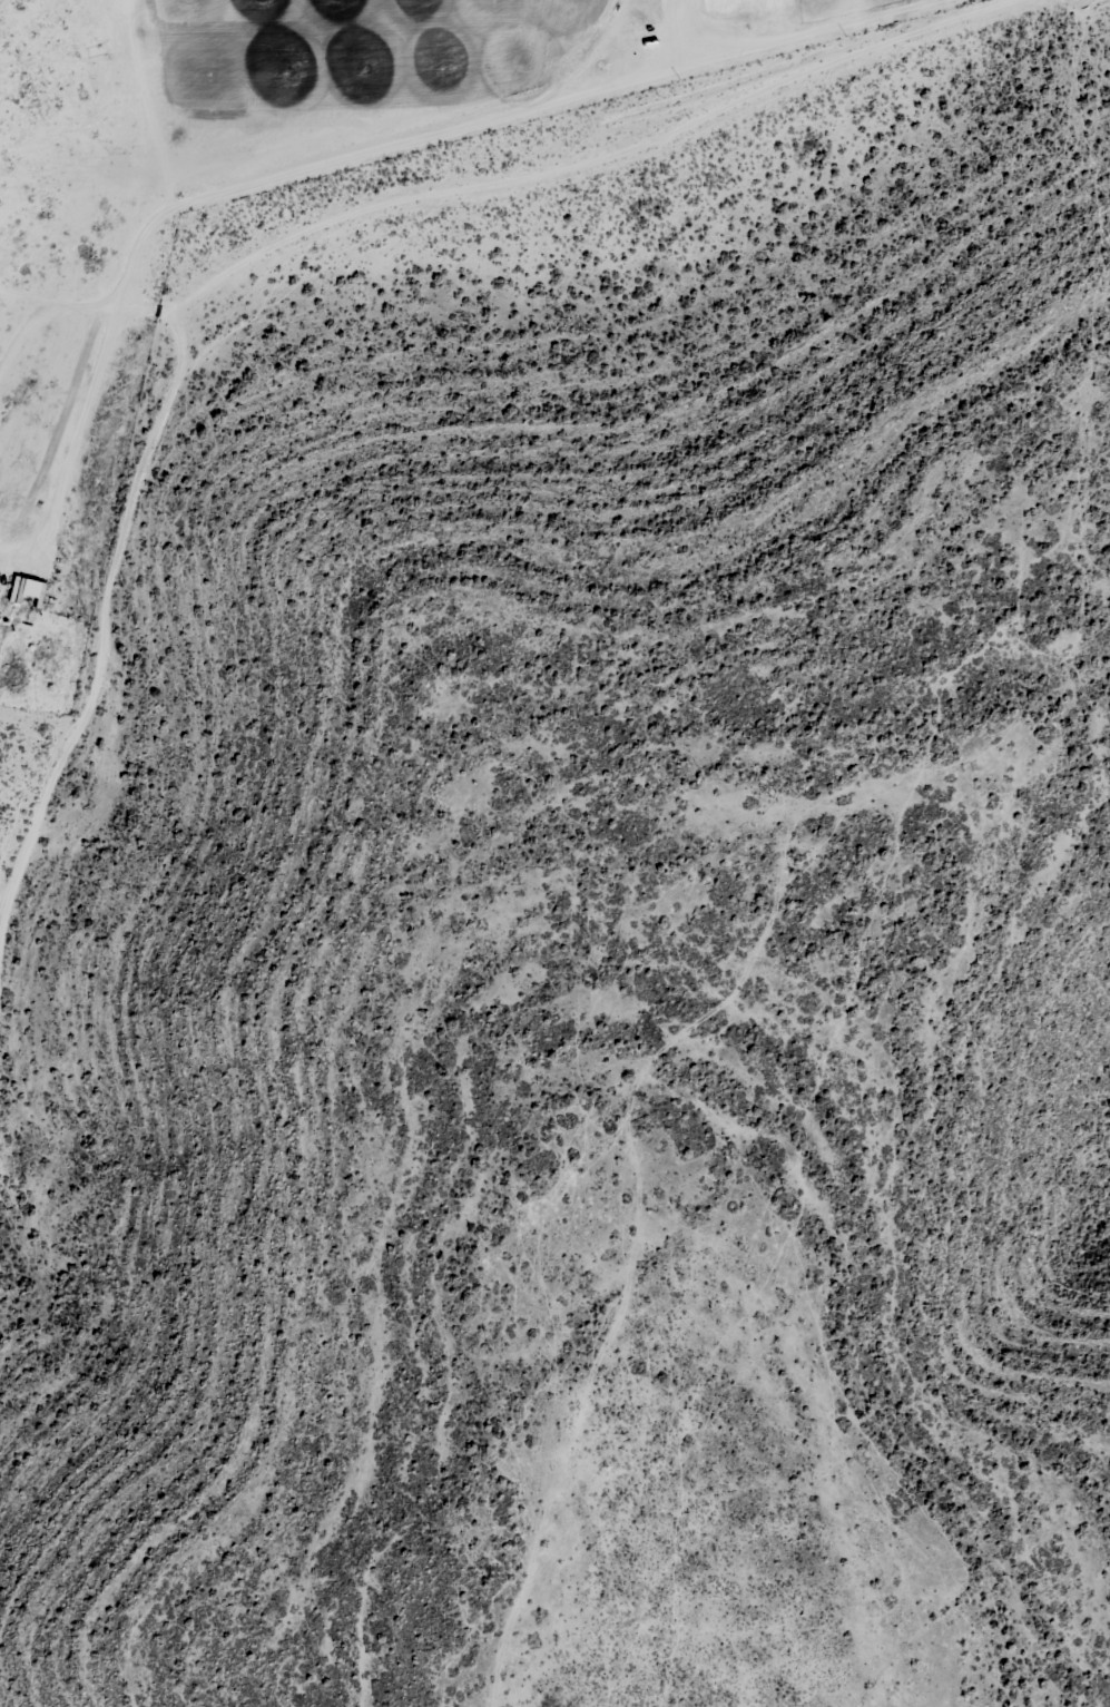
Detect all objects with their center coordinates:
road: (247, 271)

